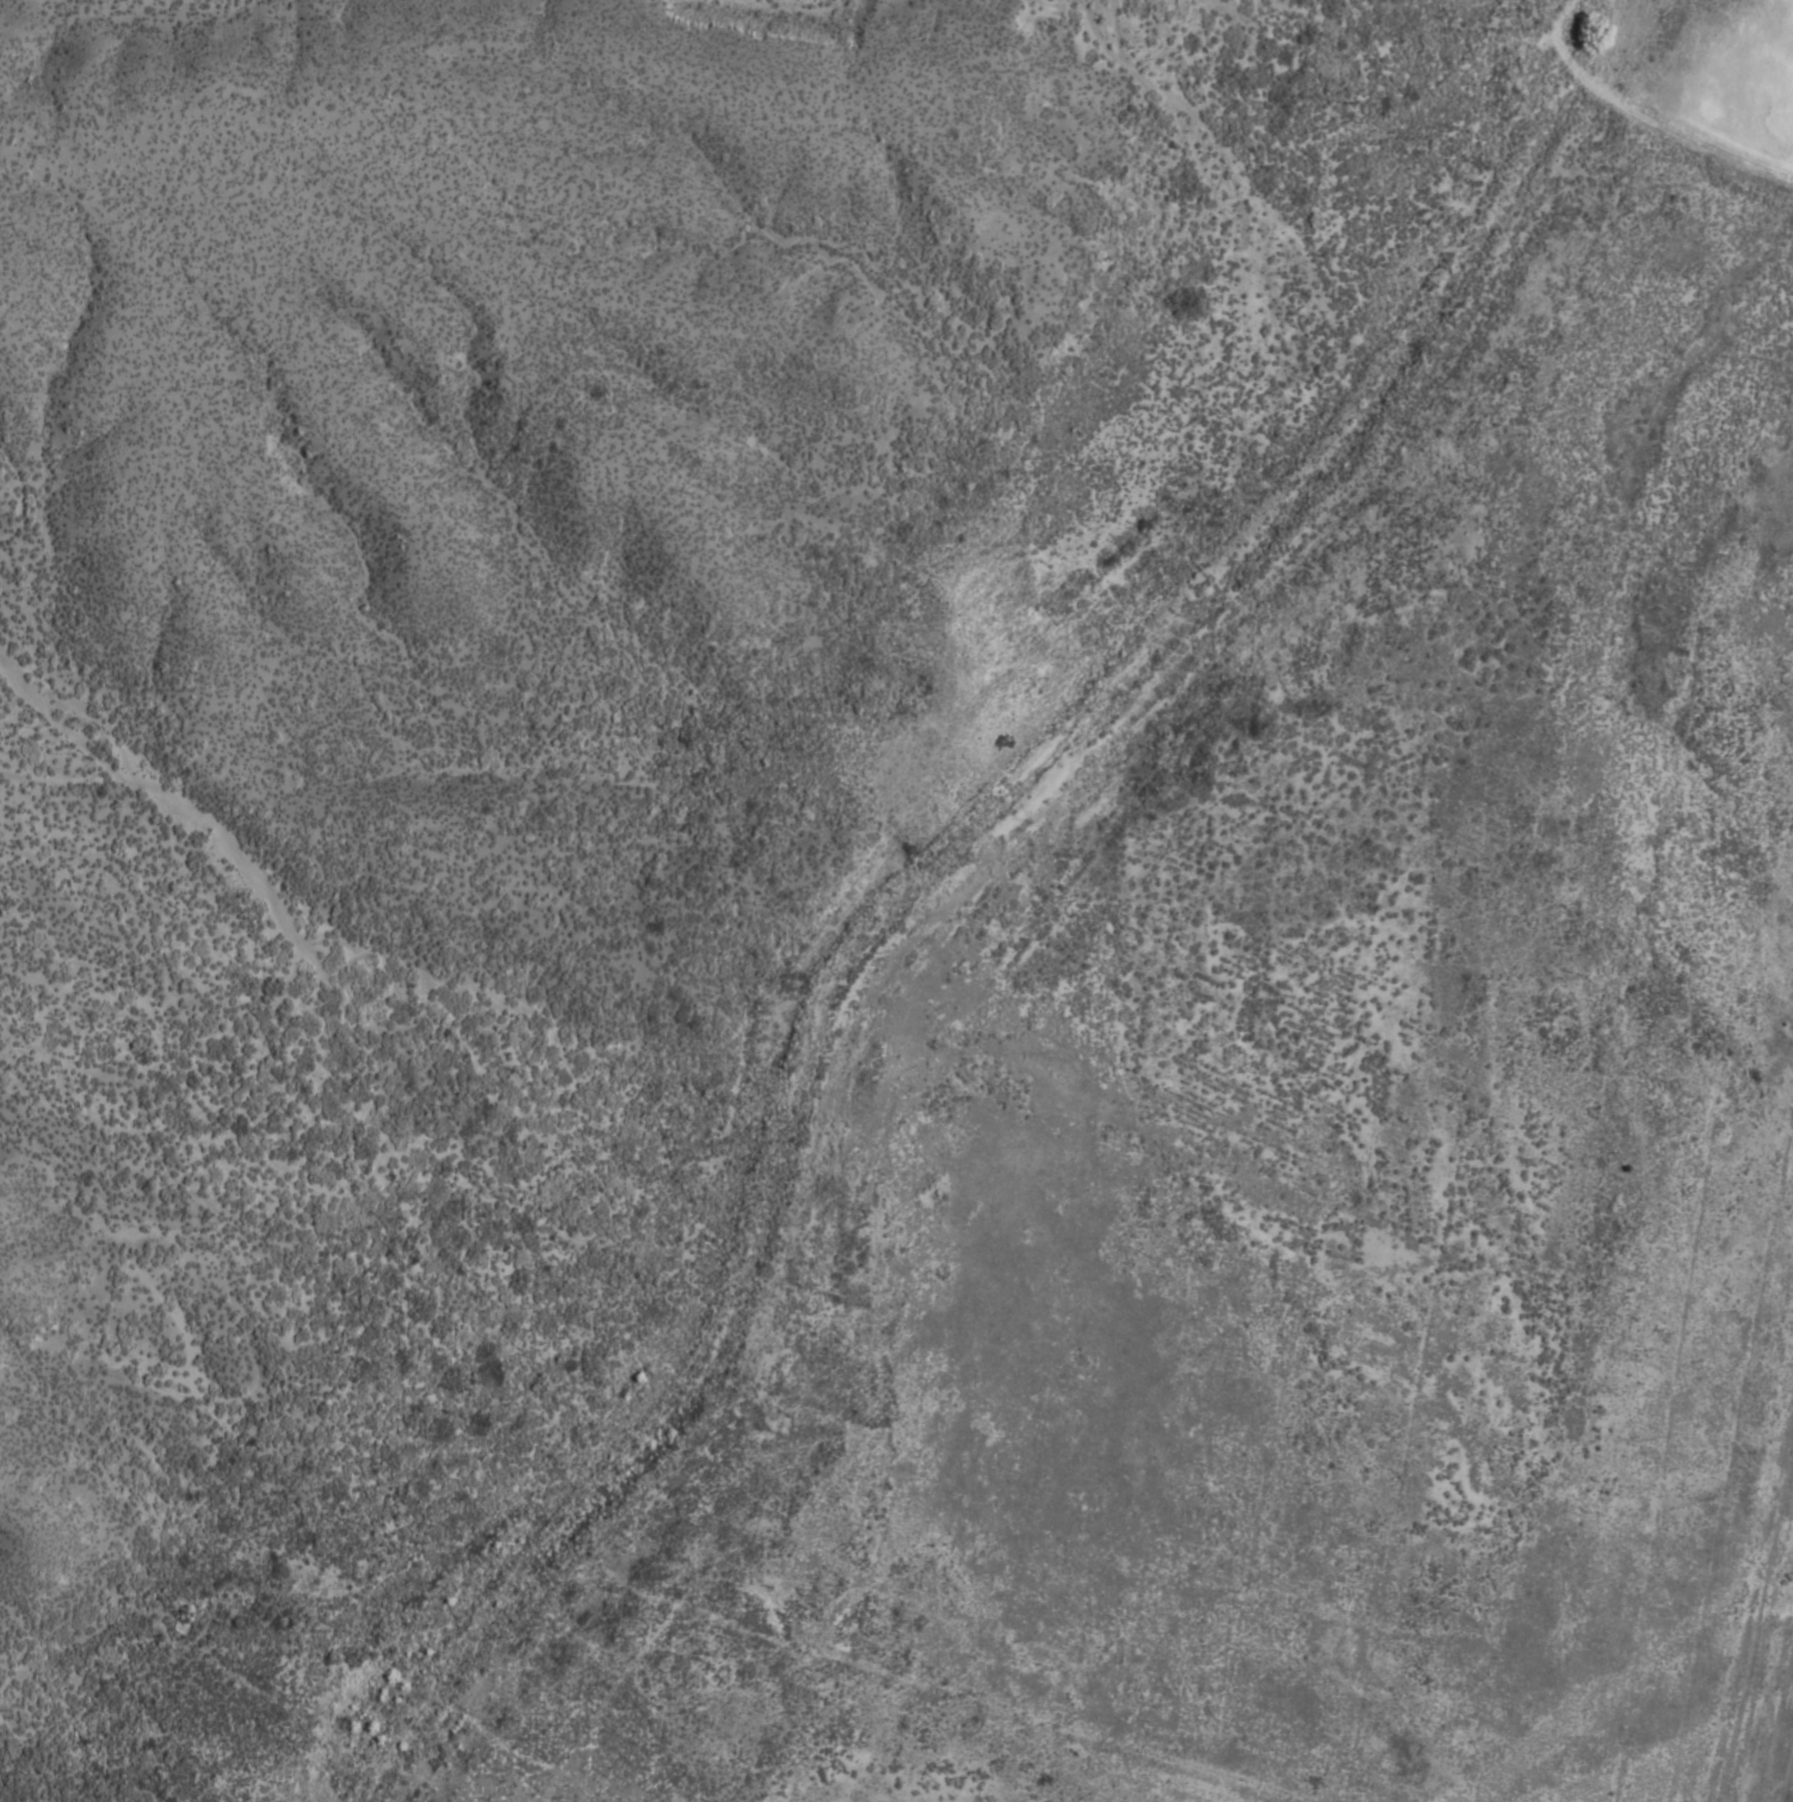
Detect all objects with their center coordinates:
road: (1588, 82)
road: (1732, 160)

